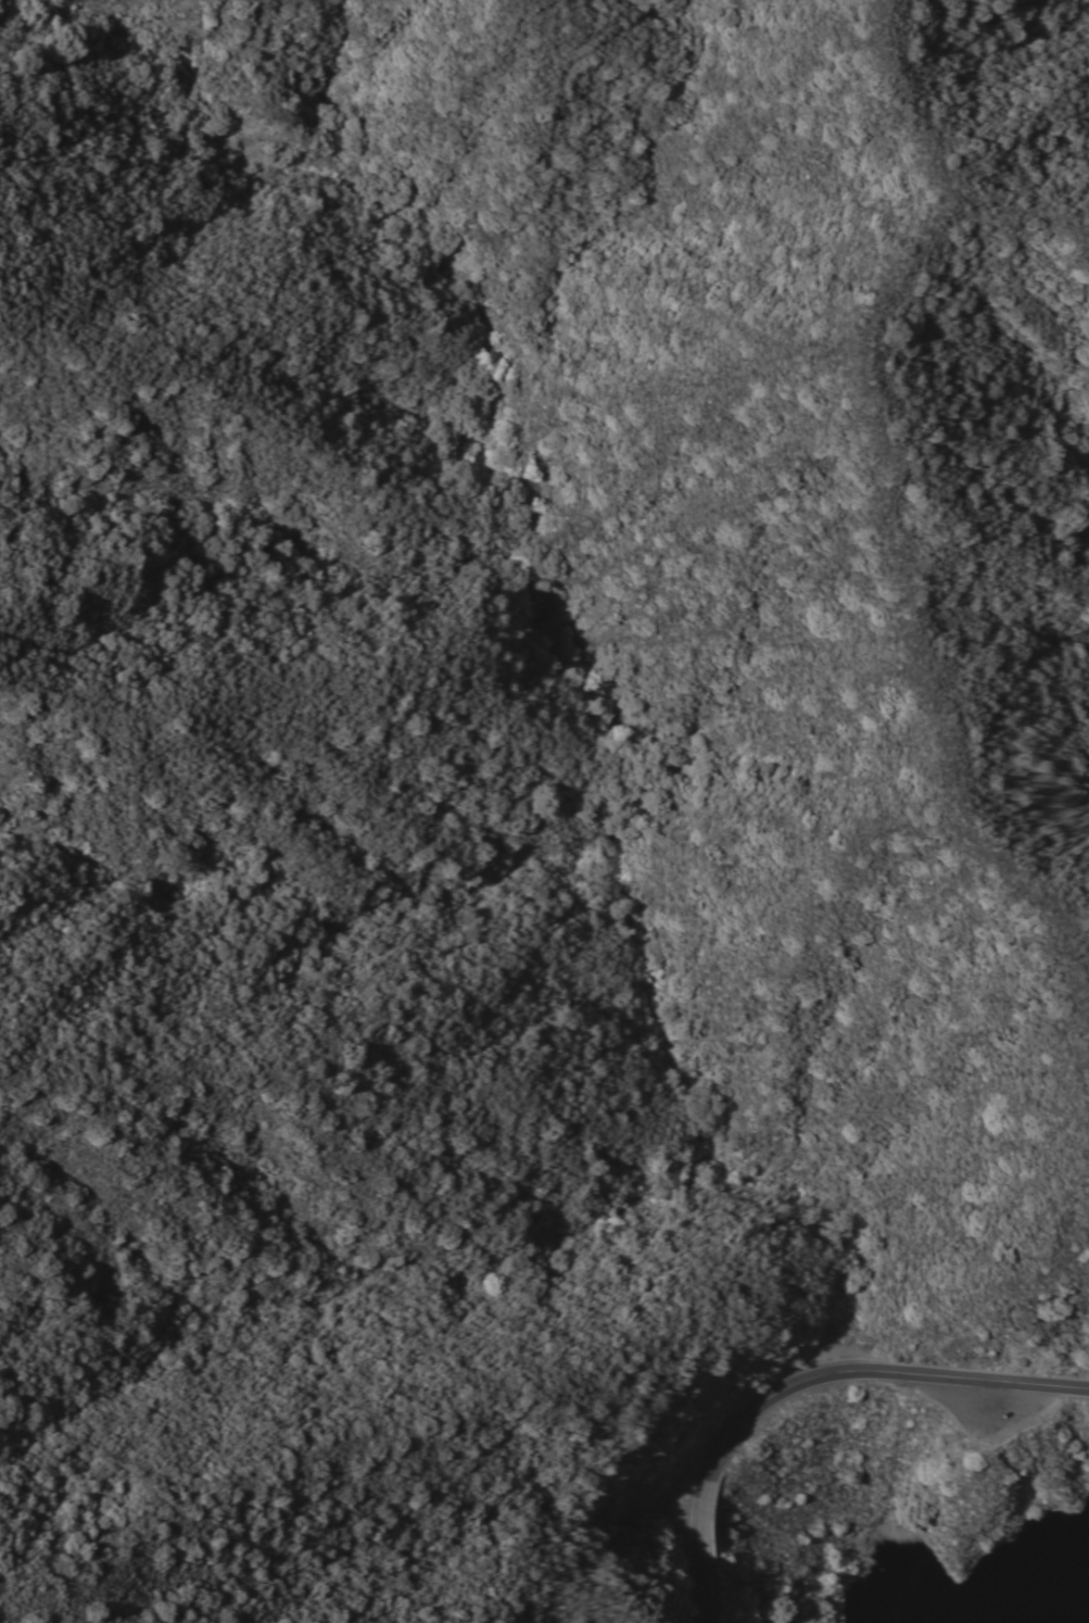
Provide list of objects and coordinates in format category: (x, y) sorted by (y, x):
road: (862, 1370)
parking lot: (995, 1409)
road: (692, 1520)
road: (693, 1583)

